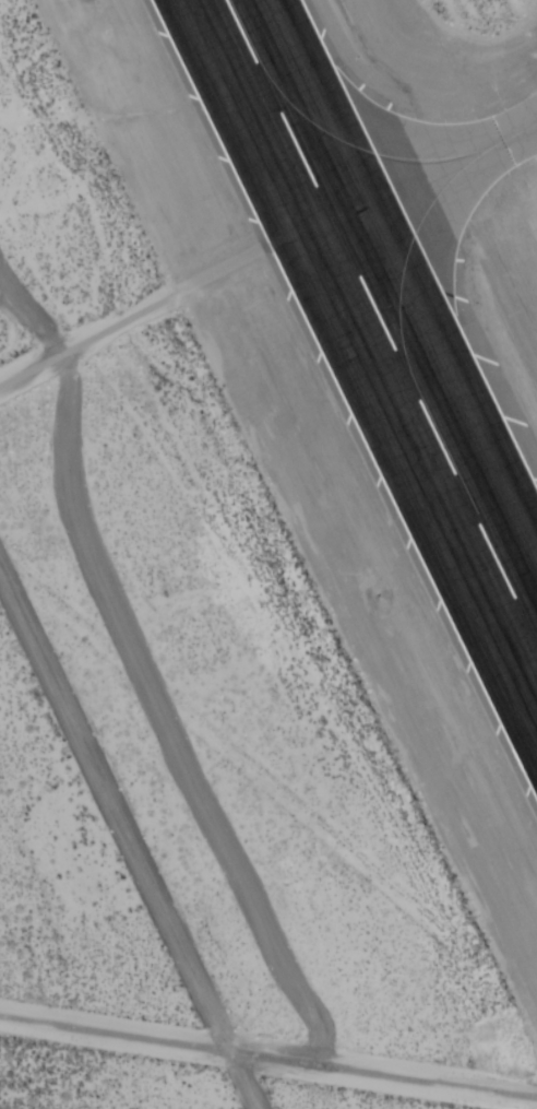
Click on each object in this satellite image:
airport taxiway: (435, 170)
airport runway: (382, 320)
airport: (268, 554)

